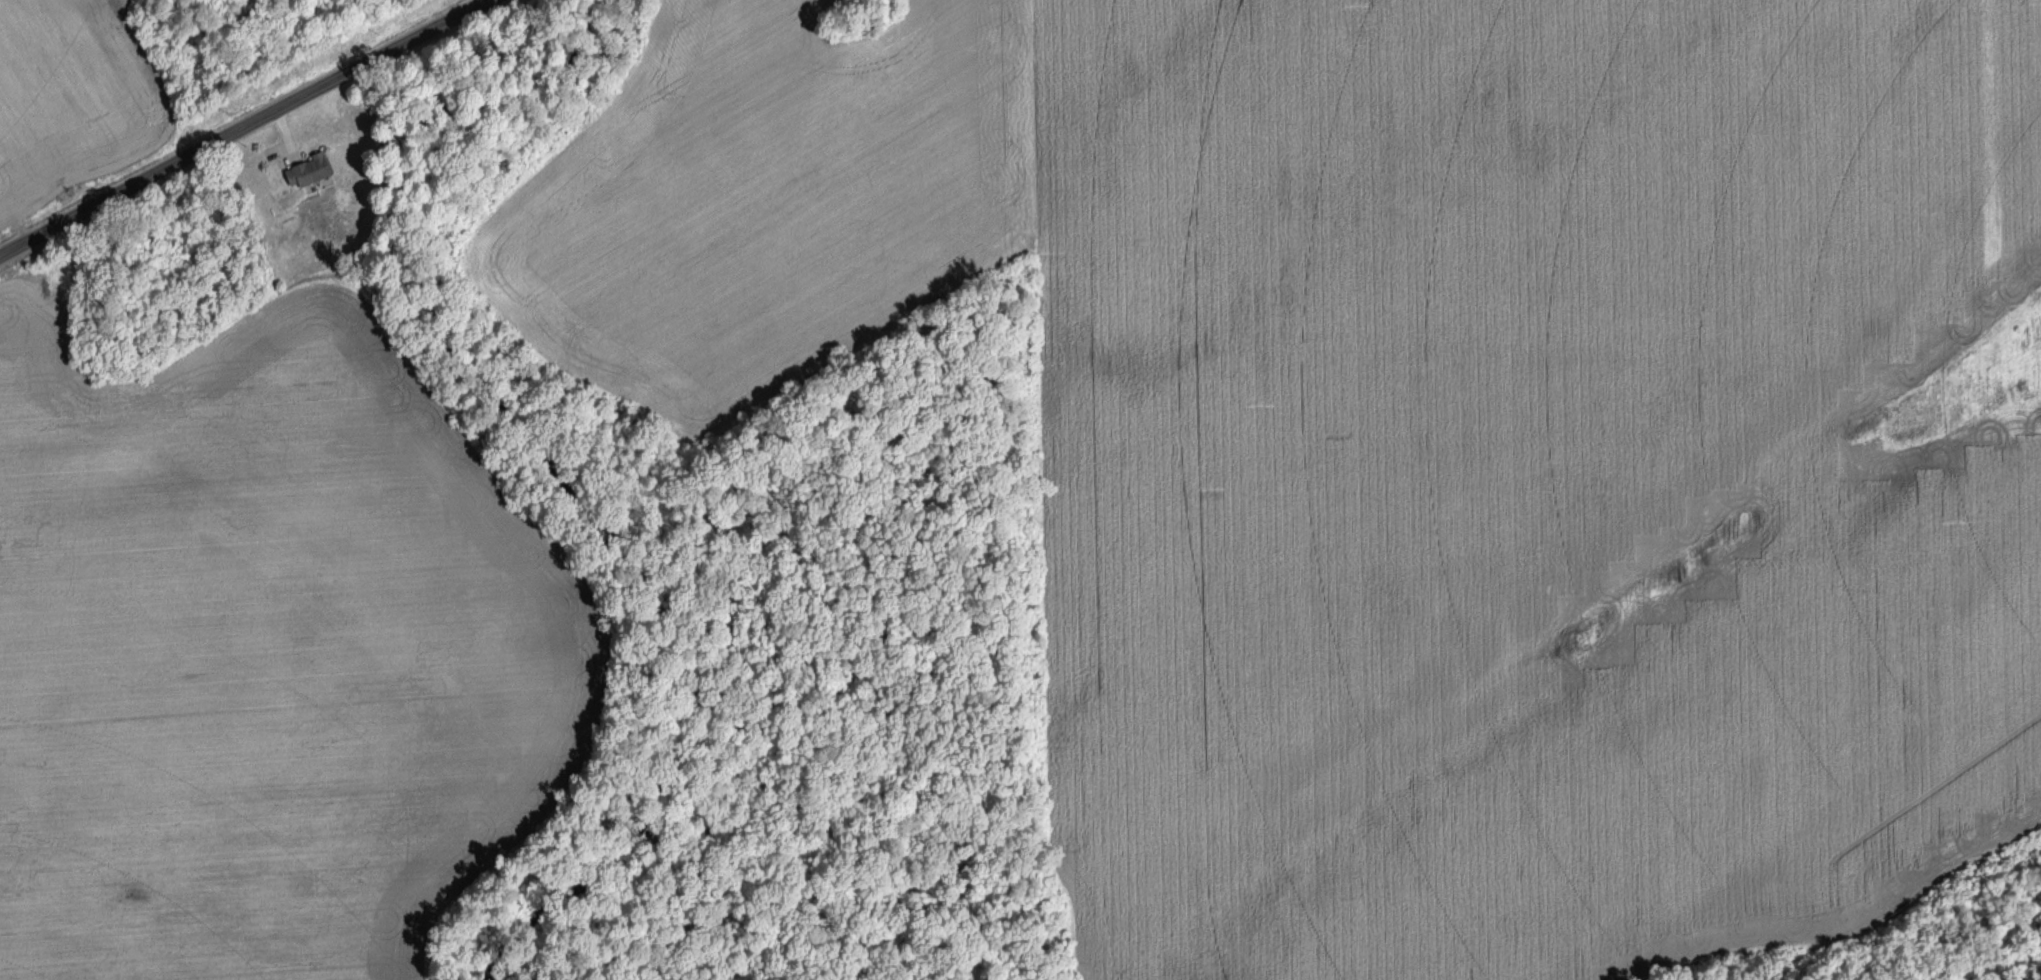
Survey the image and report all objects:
road: (246, 130)
building: (303, 173)

